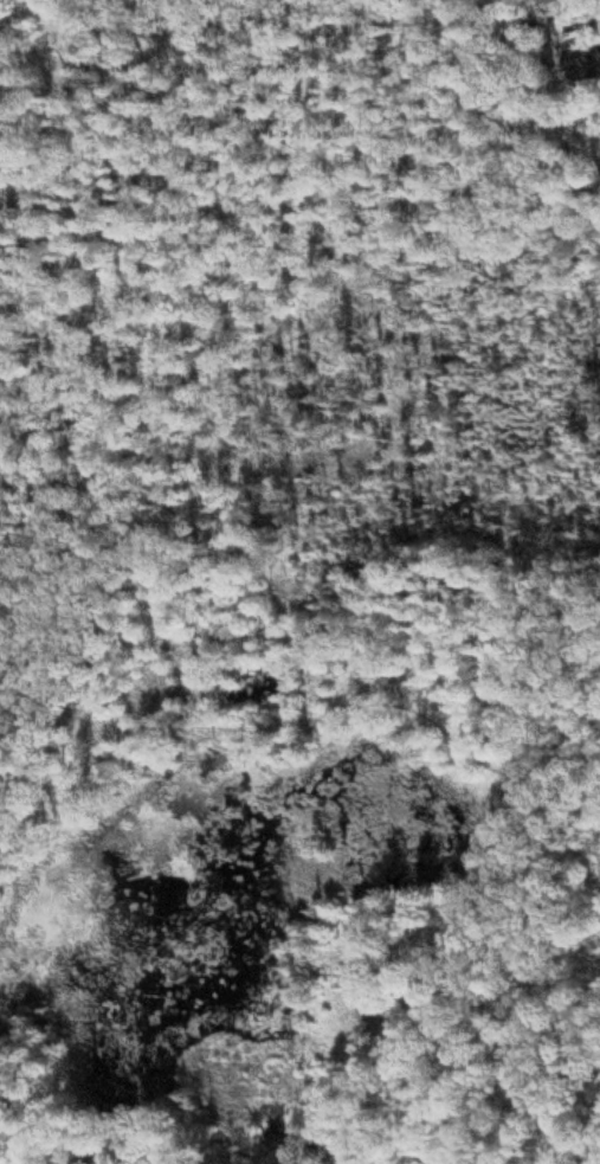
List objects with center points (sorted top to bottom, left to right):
building: (594, 62)

